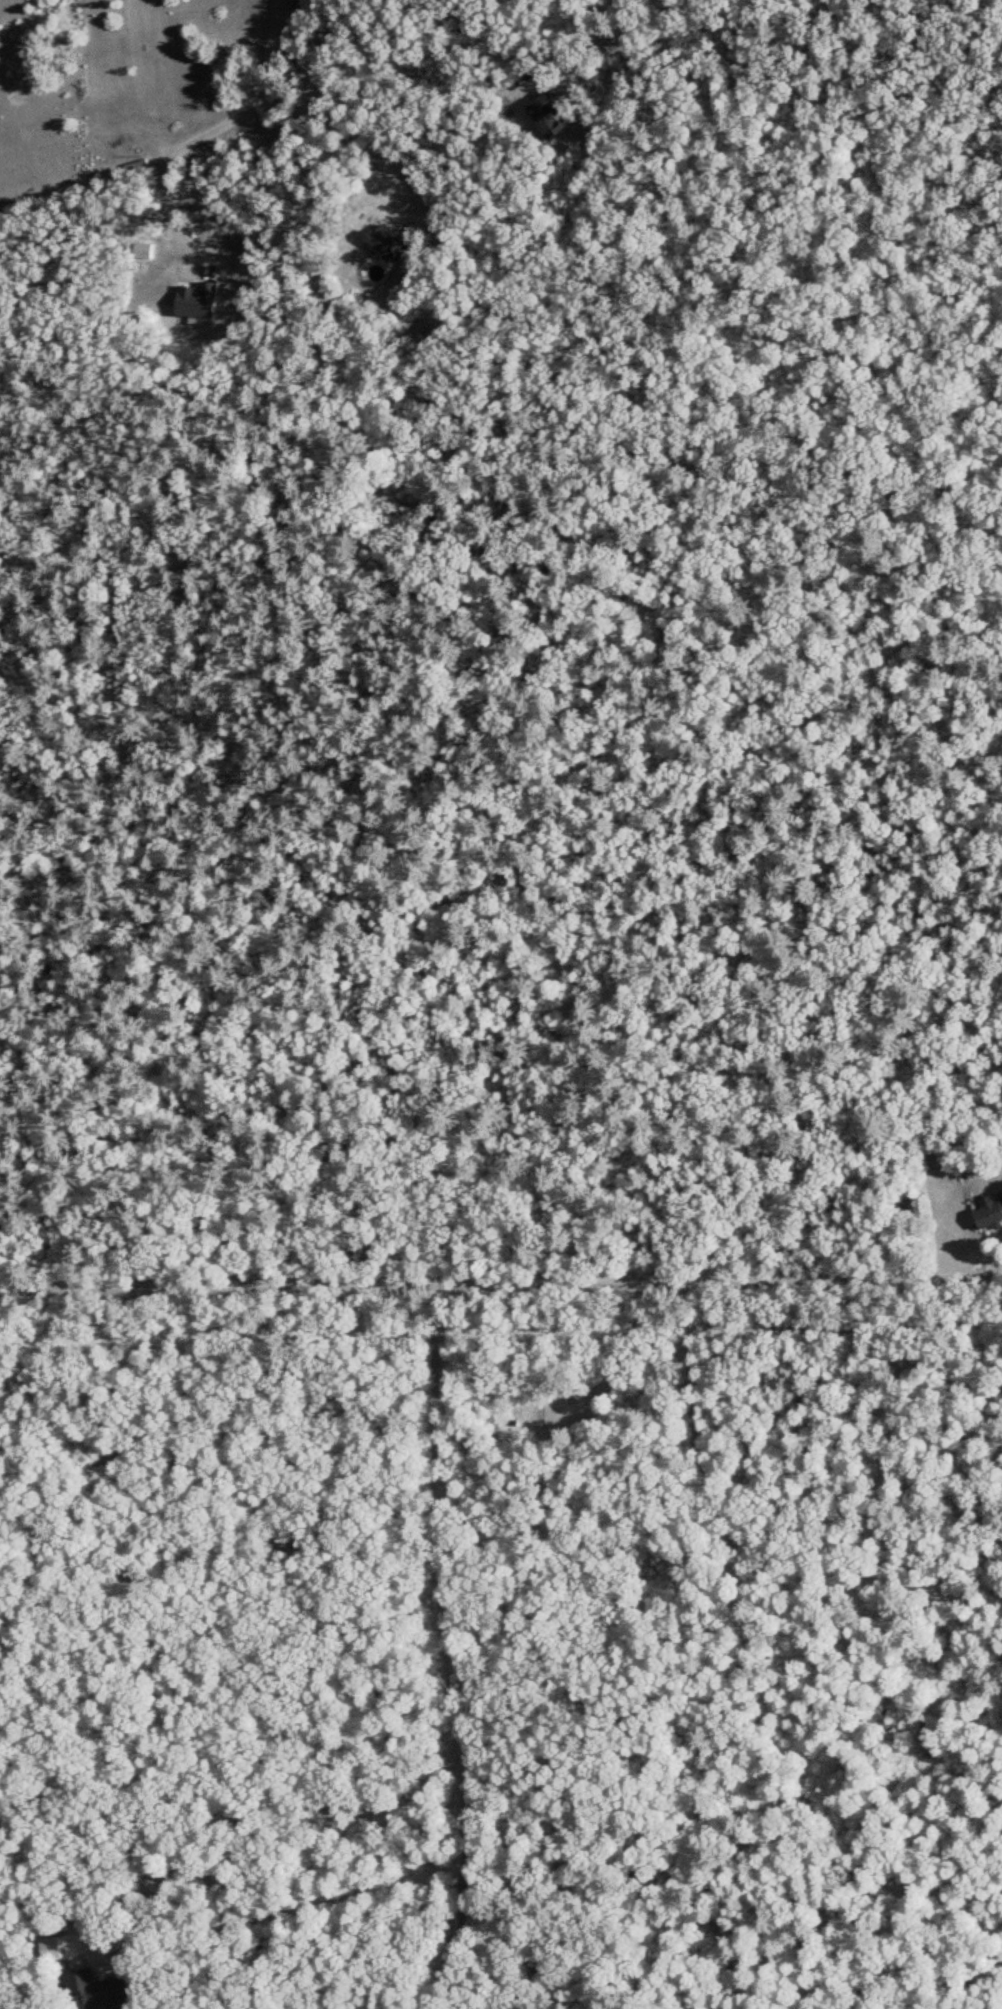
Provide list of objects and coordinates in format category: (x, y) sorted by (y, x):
road: (280, 19)
road: (569, 43)
road: (264, 74)
building: (548, 117)
road: (357, 127)
road: (161, 166)
road: (542, 770)
road: (616, 914)
building: (1001, 1189)
building: (988, 1214)
road: (500, 1268)
road: (450, 1640)
road: (262, 1810)
building: (98, 1990)

